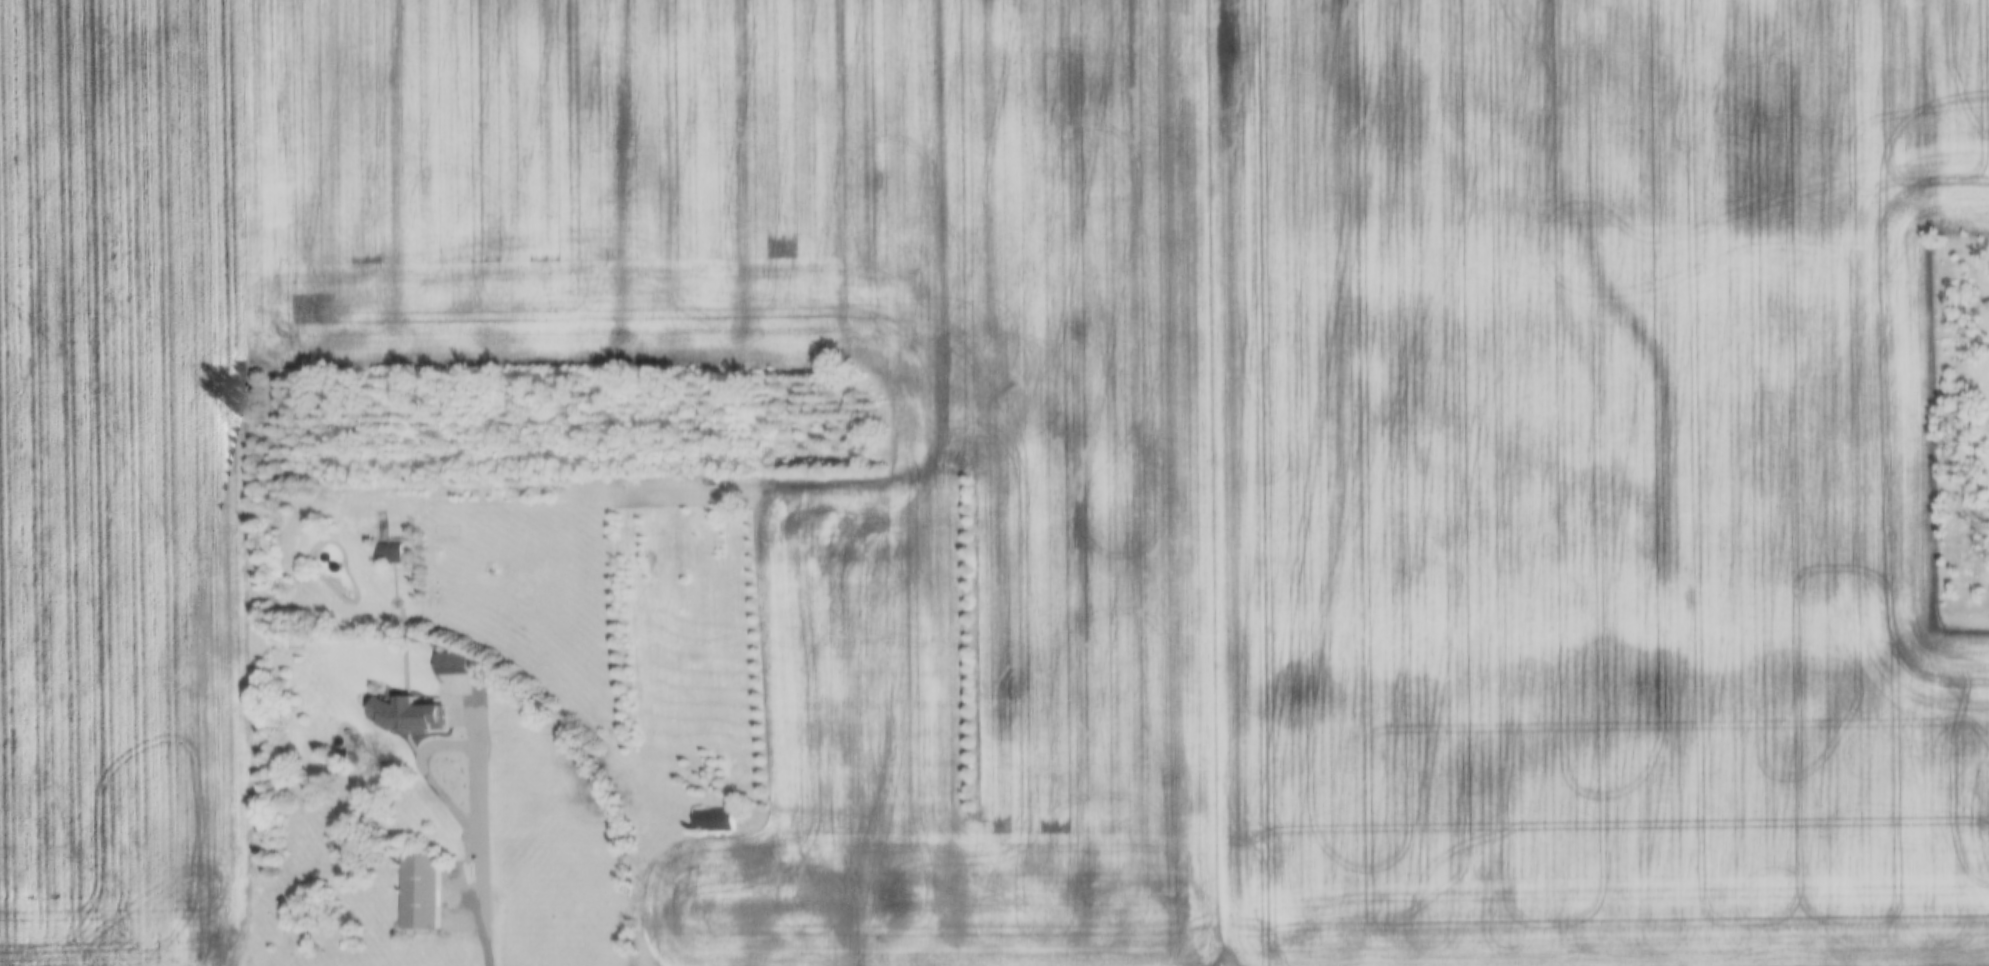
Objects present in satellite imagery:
building: (390, 553)
building: (427, 665)
road: (1049, 772)
building: (716, 820)
road: (480, 829)
building: (422, 892)
road: (975, 960)

